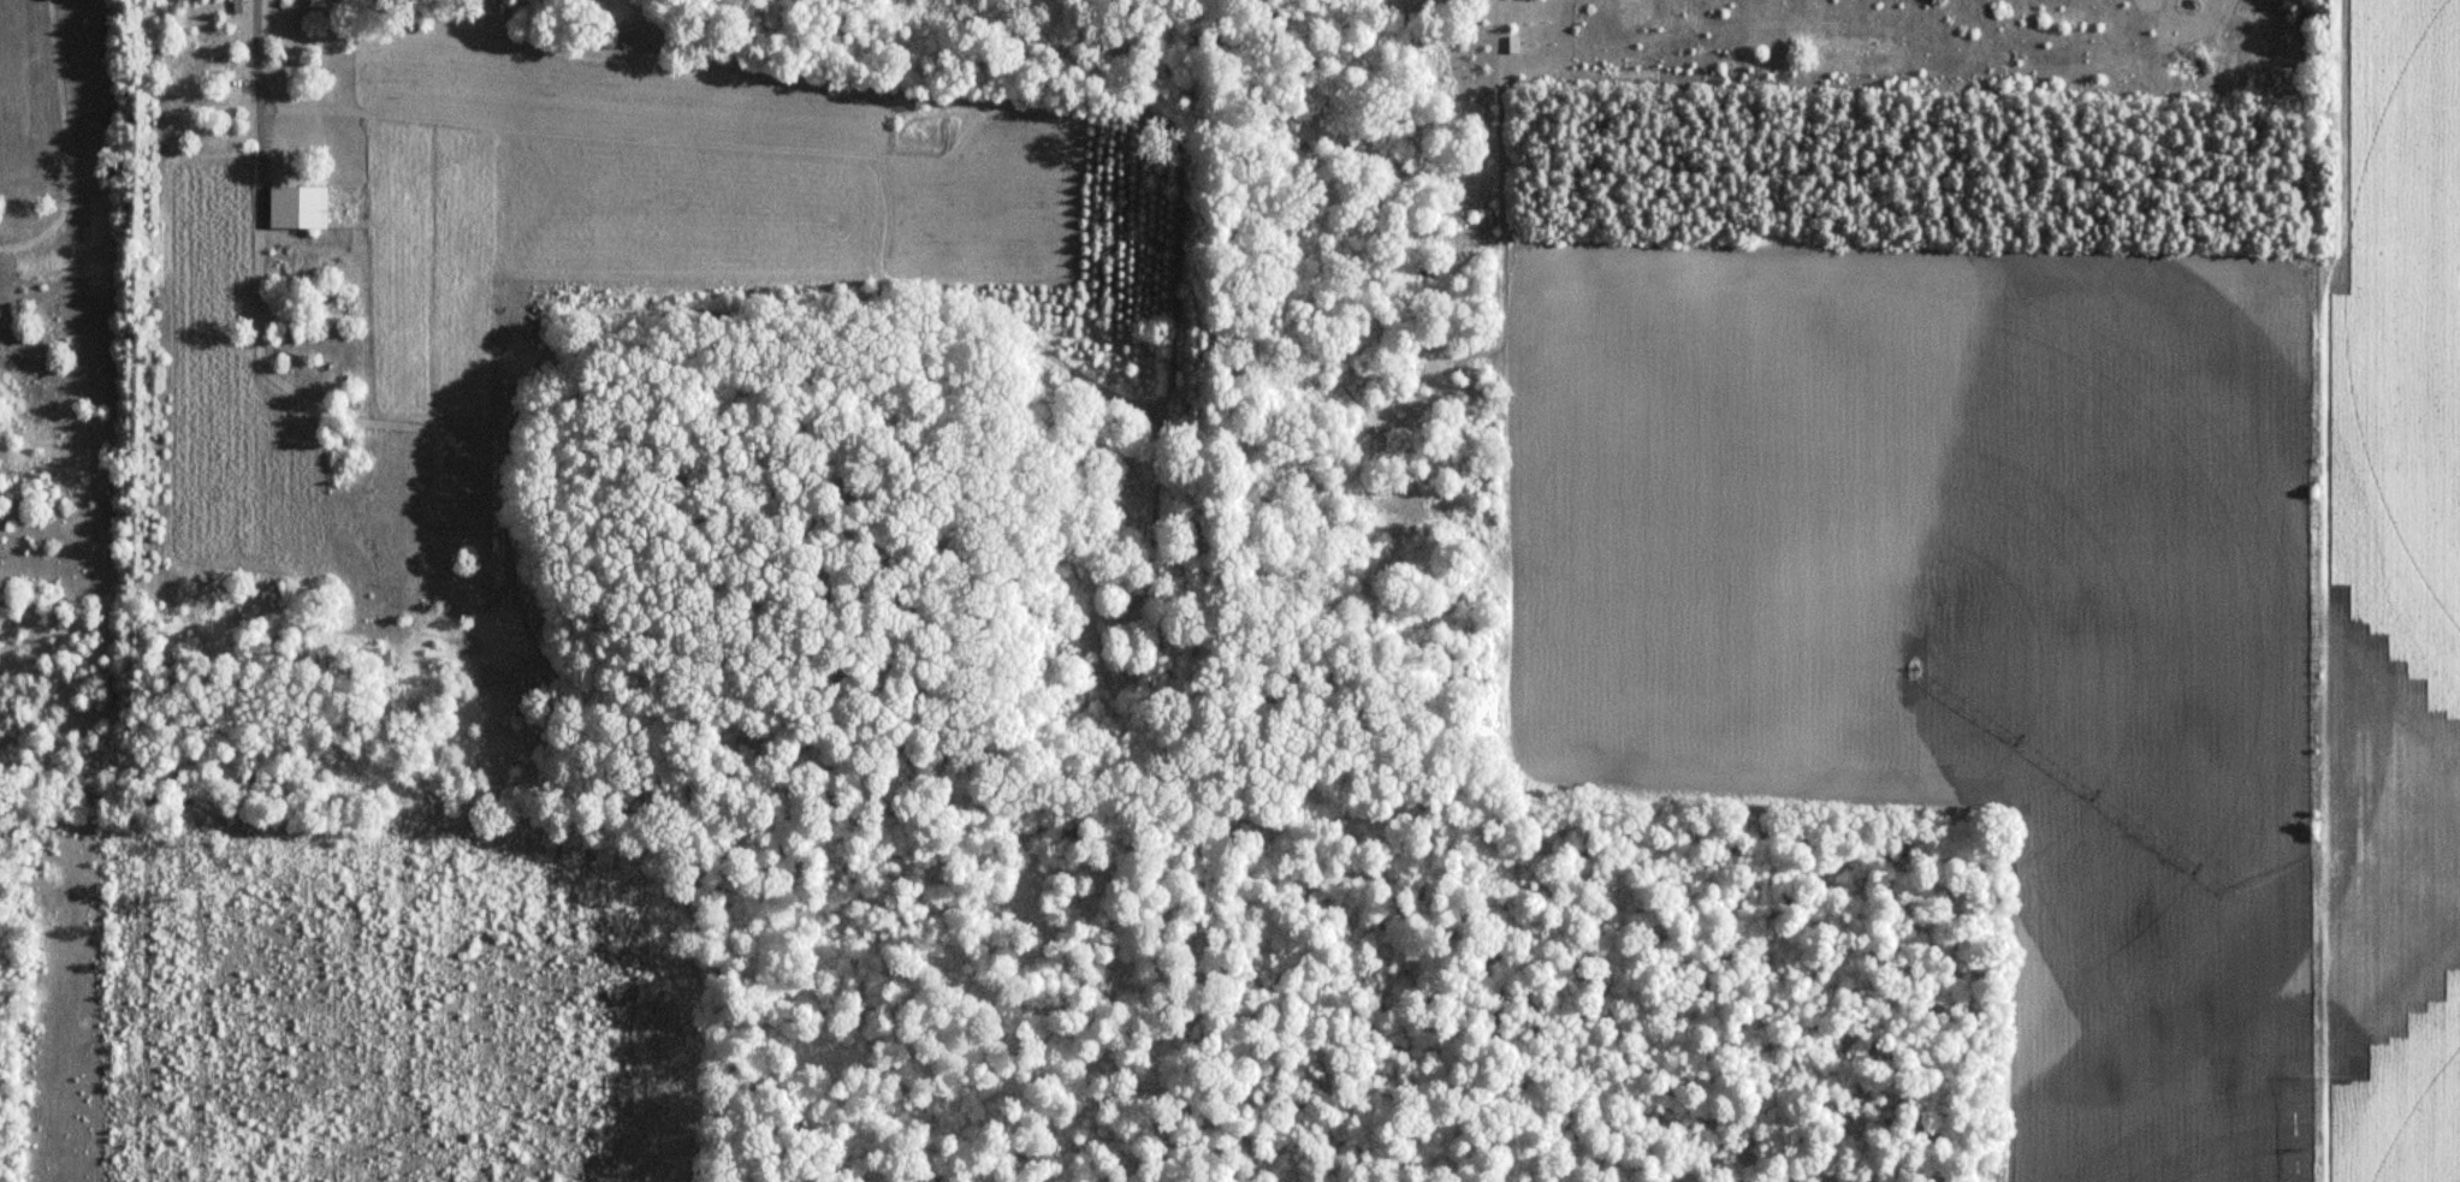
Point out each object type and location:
building: (1511, 43)
road: (257, 73)
building: (296, 207)

